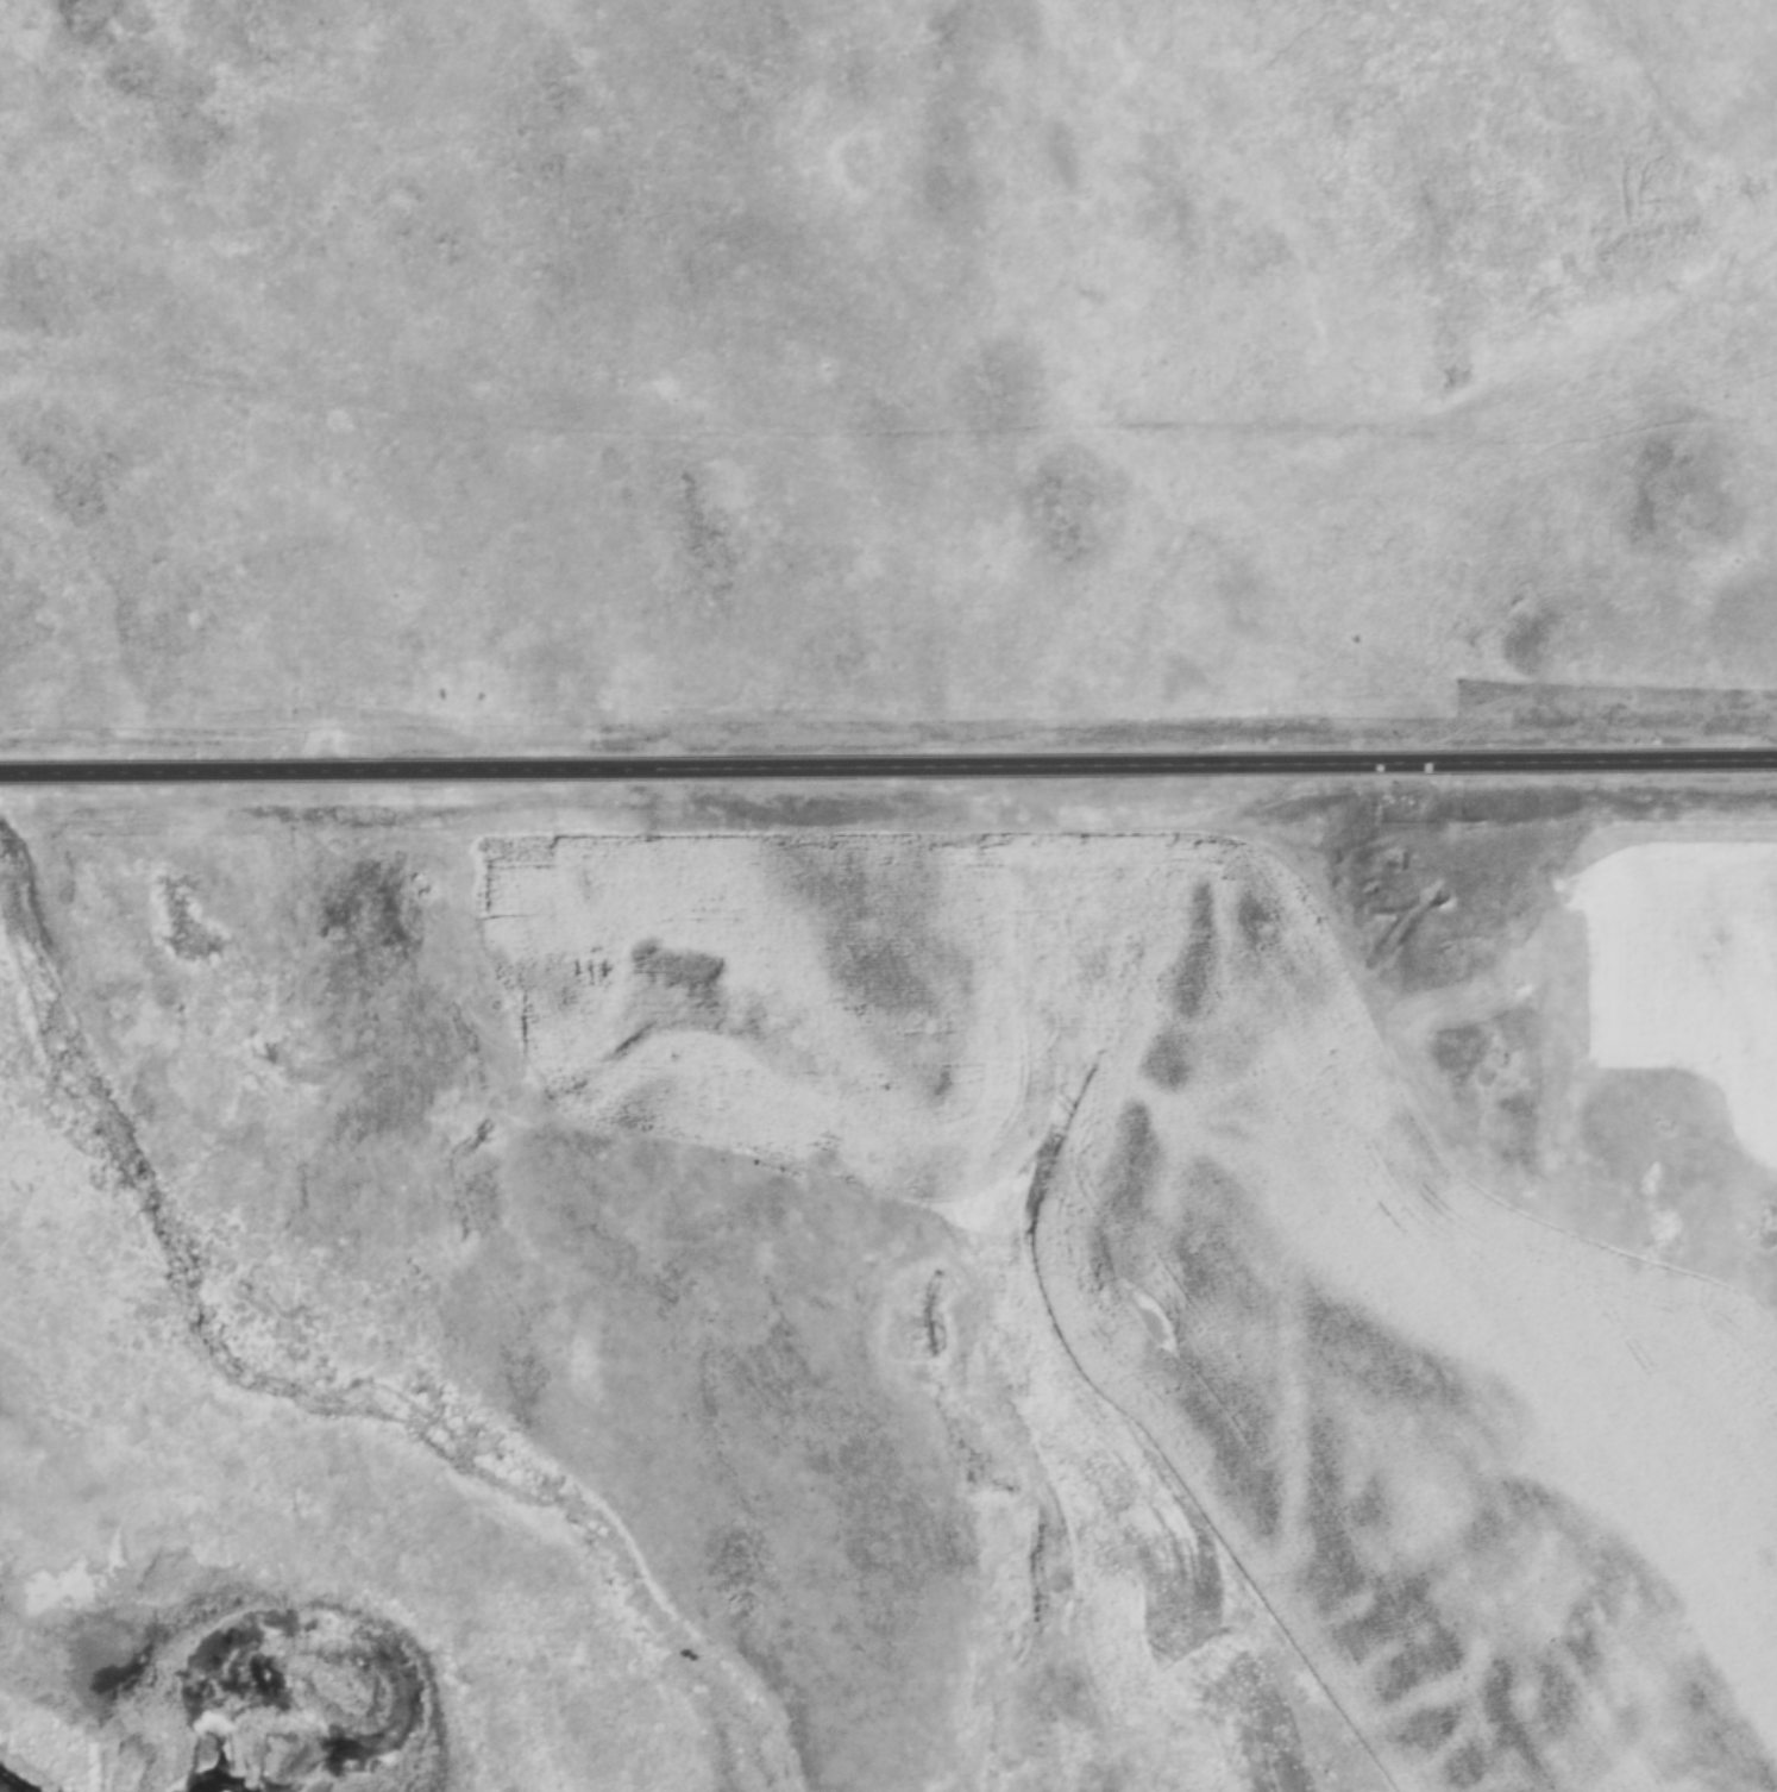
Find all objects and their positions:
road: (888, 766)

